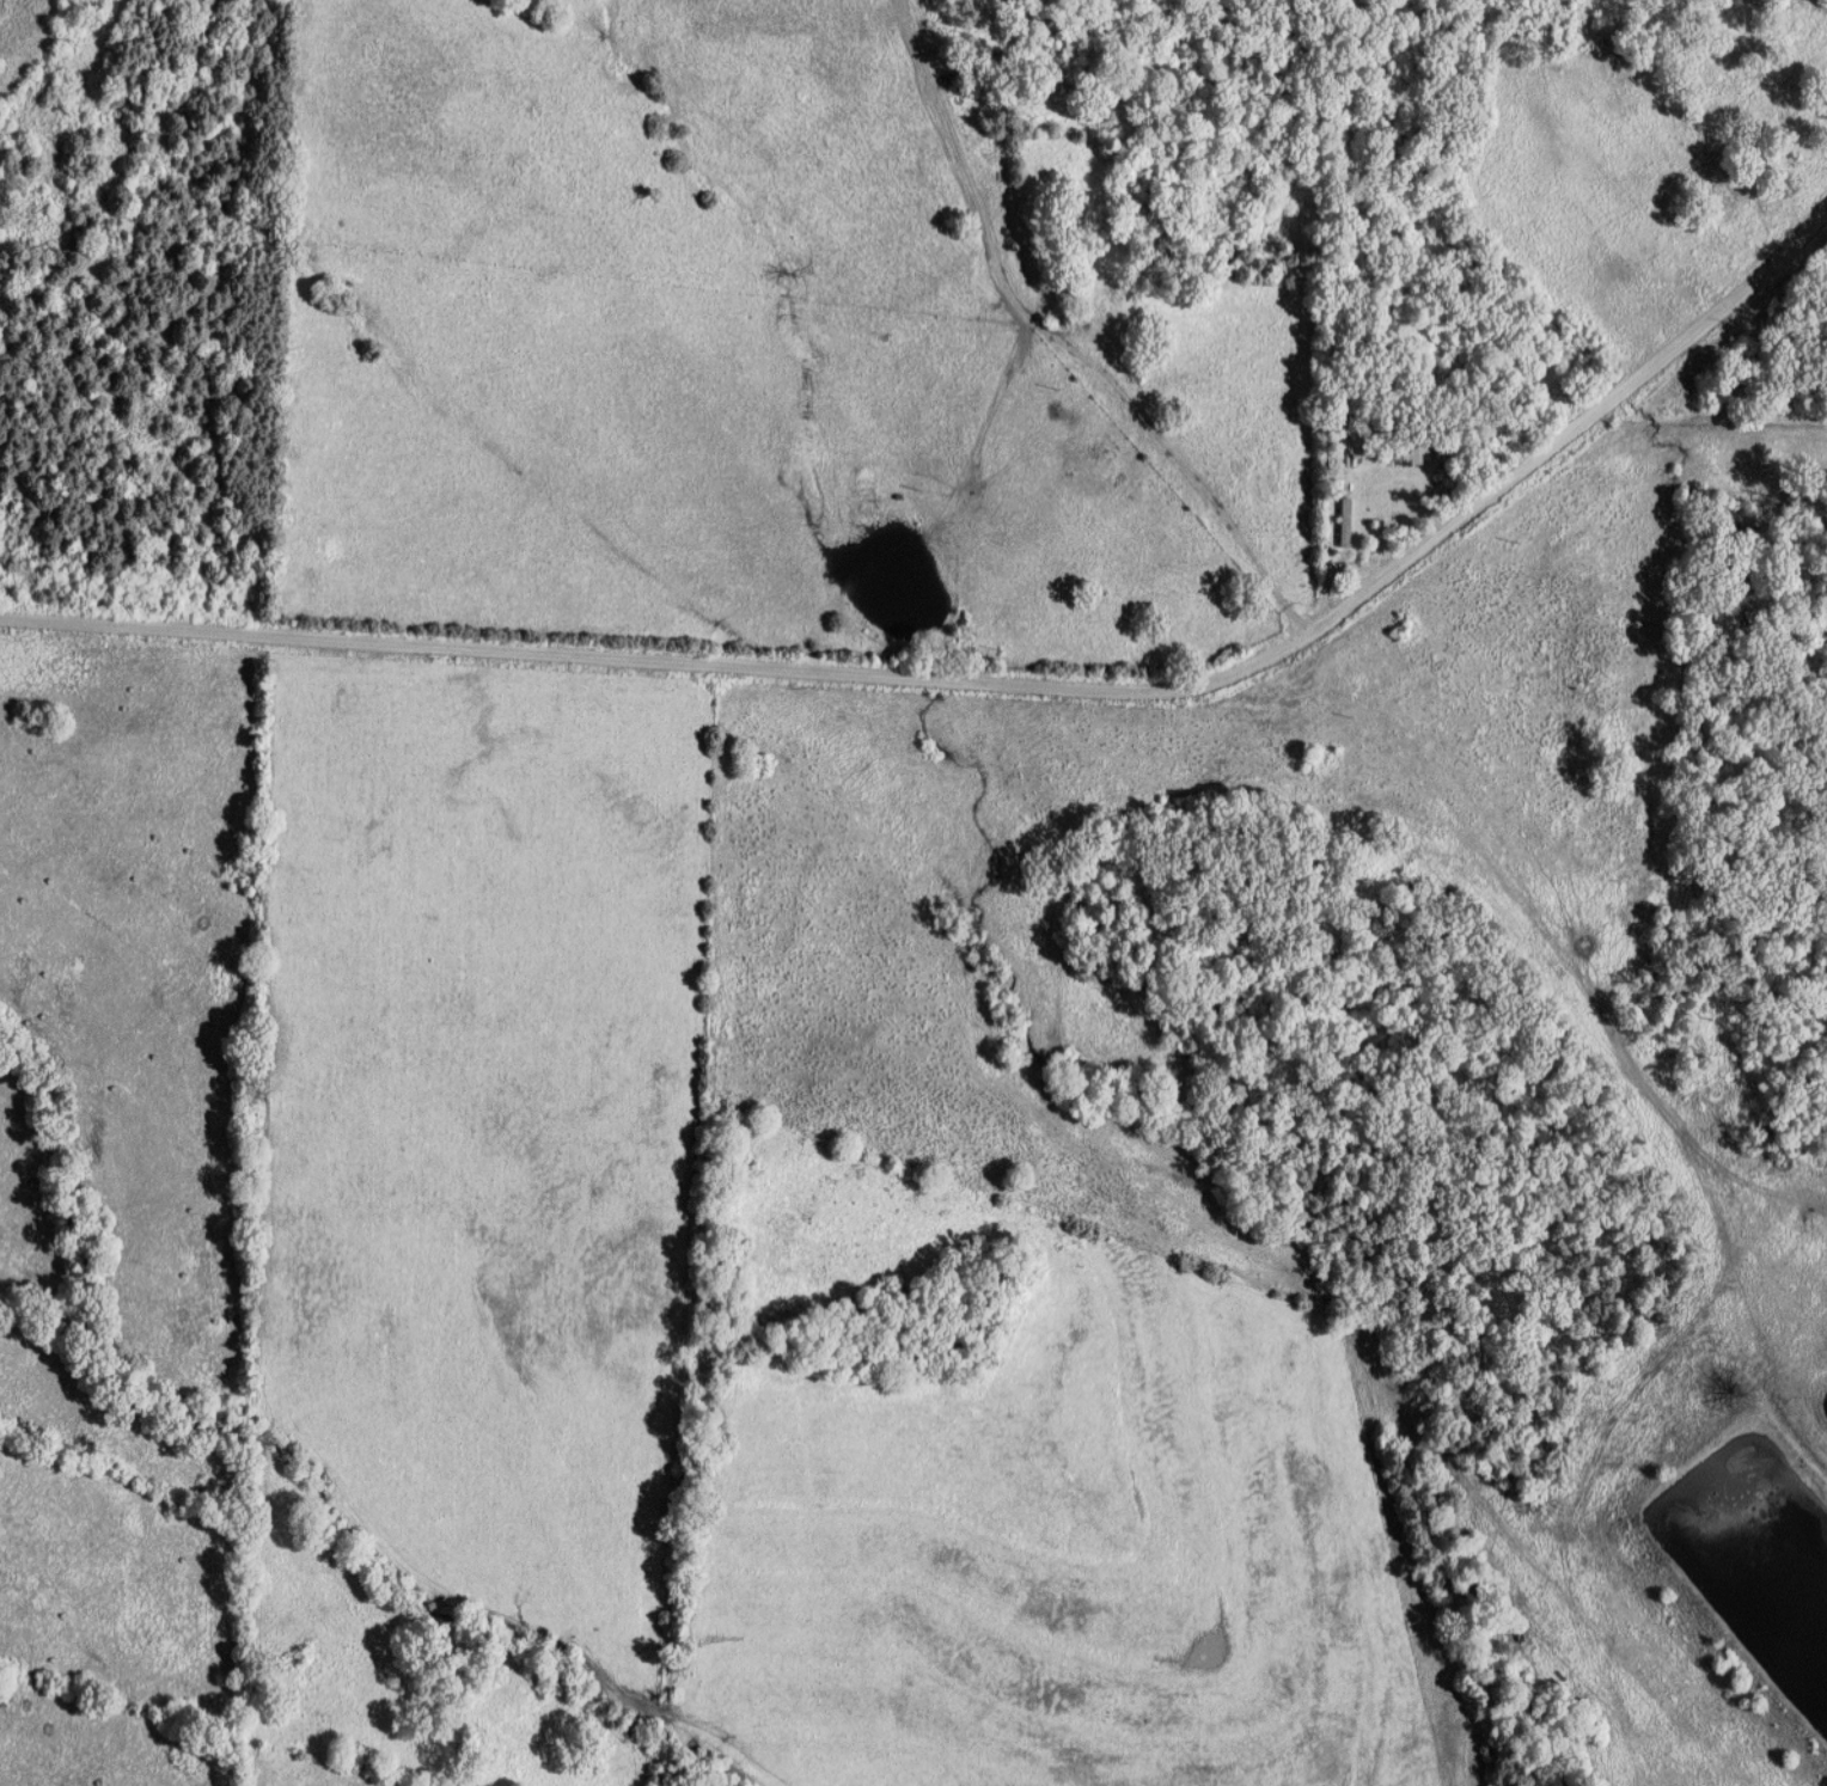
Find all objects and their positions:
road: (994, 683)

